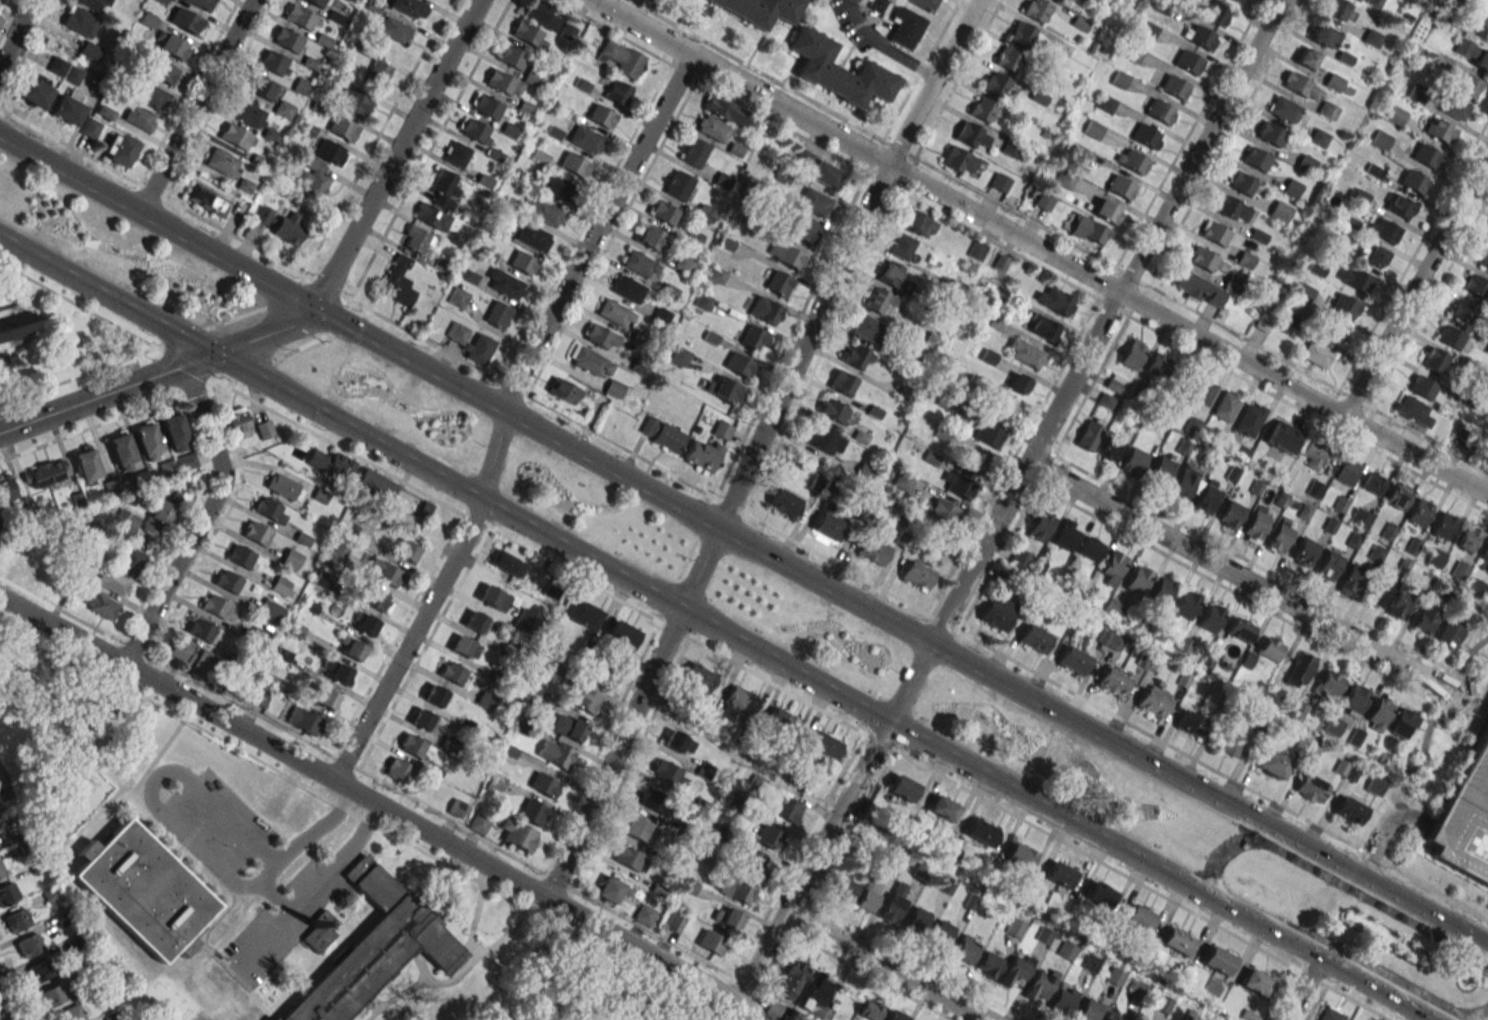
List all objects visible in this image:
building: (1235, 0)
building: (1238, 0)
road: (1487, 0)
building: (316, 3)
building: (1371, 3)
building: (95, 4)
building: (202, 4)
building: (876, 5)
building: (406, 7)
building: (1336, 8)
building: (1035, 9)
building: (756, 10)
road: (1466, 11)
building: (1216, 13)
building: (541, 15)
building: (0, 17)
building: (299, 17)
building: (184, 20)
road: (1450, 20)
building: (905, 27)
building: (392, 29)
building: (1147, 30)
road: (16, 33)
building: (1021, 33)
building: (529, 35)
building: (1324, 36)
building: (1201, 37)
building: (1371, 37)
building: (286, 39)
building: (173, 46)
road: (883, 47)
building: (1471, 53)
building: (511, 57)
building: (1306, 57)
building: (622, 58)
building: (1007, 58)
building: (1187, 62)
building: (274, 63)
building: (64, 70)
building: (160, 71)
building: (835, 72)
building: (376, 73)
building: (502, 83)
building: (1297, 83)
building: (1467, 83)
building: (995, 84)
building: (1173, 86)
building: (260, 87)
building: (35, 91)
building: (617, 92)
building: (150, 95)
building: (352, 102)
building: (1104, 104)
road: (195, 106)
building: (485, 106)
building: (1451, 106)
building: (67, 107)
building: (981, 108)
building: (1282, 108)
building: (283, 109)
building: (726, 110)
building: (1327, 110)
building: (1158, 111)
building: (247, 113)
building: (1395, 115)
building: (601, 116)
building: (138, 117)
building: (341, 127)
building: (90, 128)
building: (711, 128)
building: (1092, 129)
building: (1438, 129)
building: (473, 130)
building: (971, 135)
building: (1144, 135)
building: (1268, 135)
building: (234, 136)
building: (586, 139)
building: (1380, 139)
building: (119, 149)
building: (1010, 149)
road: (1178, 149)
building: (330, 152)
building: (693, 152)
building: (456, 154)
road: (395, 155)
building: (1425, 156)
building: (1255, 158)
building: (802, 159)
building: (958, 160)
building: (1133, 161)
building: (221, 162)
building: (1306, 162)
building: (573, 164)
building: (826, 174)
building: (313, 179)
building: (1413, 181)
building: (999, 182)
building: (1241, 183)
building: (677, 185)
building: (1120, 187)
building: (443, 188)
building: (207, 200)
building: (1043, 200)
building: (814, 202)
building: (1228, 207)
building: (1400, 207)
road: (968, 210)
building: (545, 211)
building: (1106, 211)
building: (1280, 211)
building: (662, 212)
building: (704, 213)
building: (262, 214)
building: (430, 217)
road: (157, 222)
building: (917, 224)
building: (288, 227)
building: (802, 229)
building: (1385, 231)
building: (1094, 233)
building: (1215, 233)
building: (532, 237)
building: (651, 238)
building: (416, 239)
building: (901, 246)
building: (976, 250)
building: (785, 254)
building: (1371, 254)
building: (1203, 258)
building: (1483, 258)
building: (521, 262)
building: (640, 264)
building: (683, 264)
building: (716, 275)
building: (893, 278)
building: (1354, 278)
building: (397, 282)
building: (503, 283)
building: (778, 283)
building: (1232, 283)
road: (1416, 283)
building: (1474, 287)
building: (626, 288)
building: (1199, 288)
building: (1303, 291)
road: (337, 293)
building: (457, 297)
building: (879, 300)
building: (1054, 301)
building: (1344, 306)
building: (764, 310)
traffic signals: (314, 311)
building: (1459, 312)
building: (614, 313)
building: (497, 314)
building: (660, 316)
building: (14, 326)
building: (865, 326)
building: (1043, 328)
building: (1332, 331)
building: (640, 333)
building: (599, 336)
building: (1449, 337)
building: (753, 338)
building: (483, 344)
building: (1487, 350)
building: (1024, 353)
building: (1132, 353)
building: (1316, 354)
traffic signals: (214, 355)
building: (679, 356)
building: (856, 356)
building: (1434, 359)
building: (590, 362)
building: (739, 365)
building: (1158, 365)
building: (638, 367)
road: (158, 375)
building: (1482, 378)
building: (842, 383)
building: (1018, 383)
building: (1421, 386)
building: (613, 388)
building: (722, 389)
building: (562, 390)
building: (1200, 390)
building: (1468, 400)
building: (1225, 405)
building: (1004, 407)
building: (832, 410)
building: (1414, 410)
road: (501, 415)
building: (1249, 419)
building: (236, 421)
building: (1192, 426)
building: (263, 429)
building: (722, 430)
building: (174, 432)
building: (987, 433)
building: (661, 434)
building: (1088, 434)
building: (816, 436)
building: (1281, 436)
building: (1462, 437)
building: (146, 441)
road: (756, 446)
building: (1109, 447)
building: (121, 450)
building: (702, 455)
building: (1312, 455)
road: (1417, 456)
building: (971, 458)
building: (1132, 461)
building: (185, 462)
building: (85, 463)
building: (331, 463)
building: (1162, 467)
building: (1346, 471)
building: (864, 472)
building: (45, 473)
building: (902, 481)
building: (1372, 482)
building: (375, 485)
building: (957, 485)
building: (1181, 485)
building: (281, 486)
building: (6, 492)
building: (1398, 495)
building: (1206, 498)
road: (1007, 500)
building: (783, 501)
building: (265, 508)
building: (939, 509)
building: (1419, 511)
building: (1230, 514)
building: (158, 516)
building: (1359, 517)
building: (125, 519)
road: (202, 521)
building: (827, 524)
building: (1255, 524)
building: (1040, 525)
building: (1443, 525)
building: (256, 533)
building: (1066, 535)
building: (1279, 536)
building: (1467, 537)
building: (1091, 548)
building: (872, 550)
building: (406, 551)
building: (1304, 551)
building: (1376, 551)
building: (337, 553)
building: (1484, 553)
building: (240, 557)
building: (130, 558)
building: (1435, 558)
building: (291, 559)
building: (30, 562)
building: (506, 563)
building: (1328, 564)
building: (1113, 567)
building: (1460, 569)
building: (383, 571)
building: (916, 575)
building: (1353, 577)
building: (1137, 579)
road: (1241, 580)
building: (112, 581)
building: (226, 581)
building: (280, 585)
building: (548, 587)
building: (1162, 590)
building: (1377, 592)
building: (493, 597)
building: (376, 599)
building: (1187, 604)
building: (1400, 604)
building: (100, 605)
building: (213, 605)
building: (1469, 605)
road: (918, 609)
building: (269, 610)
building: (996, 612)
building: (581, 613)
building: (1211, 617)
building: (1425, 619)
building: (474, 621)
building: (525, 621)
building: (365, 625)
road: (902, 628)
building: (1240, 628)
building: (199, 629)
road: (717, 630)
building: (1450, 633)
building: (621, 634)
building: (1034, 637)
building: (464, 647)
building: (1270, 648)
building: (352, 649)
building: (190, 656)
building: (1073, 659)
building: (1299, 669)
road: (135, 671)
building: (338, 672)
building: (451, 672)
building: (554, 672)
building: (698, 676)
building: (1113, 681)
building: (1328, 683)
building: (1272, 693)
building: (433, 694)
building: (259, 695)
building: (324, 697)
building: (582, 698)
building: (485, 699)
building: (1153, 700)
building: (1354, 700)
building: (738, 703)
building: (1379, 713)
building: (421, 718)
building: (303, 720)
building: (781, 721)
building: (1191, 723)
building: (1402, 724)
building: (568, 726)
building: (1332, 726)
building: (674, 740)
building: (1228, 743)
building: (825, 745)
building: (414, 747)
building: (553, 752)
building: (1272, 764)
building: (397, 769)
building: (1346, 769)
road: (323, 773)
building: (667, 773)
road: (301, 784)
building: (543, 784)
building: (1375, 785)
road: (131, 787)
building: (1310, 787)
building: (902, 788)
building: (652, 800)
road: (376, 805)
building: (456, 807)
building: (942, 807)
road: (111, 808)
building: (785, 808)
building: (1349, 810)
building: (532, 811)
building: (1465, 817)
parking lot: (1465, 817)
building: (478, 823)
building: (636, 828)
building: (981, 831)
road: (1386, 831)
road: (179, 834)
building: (517, 834)
building: (768, 836)
helipad: (1472, 842)
road: (1229, 847)
building: (1019, 854)
building: (626, 857)
building: (749, 859)
building: (1, 870)
road: (205, 872)
building: (1060, 874)
road: (1125, 876)
road: (448, 880)
road: (229, 887)
building: (842, 887)
building: (735, 888)
building: (144, 889)
building: (609, 889)
road: (307, 892)
building: (7, 893)
building: (867, 894)
building: (1100, 894)
road: (276, 895)
building: (893, 902)
road: (475, 912)
building: (643, 914)
building: (1138, 916)
building: (727, 917)
building: (16, 920)
building: (916, 920)
building: (674, 922)
building: (319, 931)
building: (940, 934)
building: (1177, 940)
building: (712, 942)
building: (28, 945)
building: (376, 947)
building: (962, 949)
building: (1217, 959)
building: (988, 962)
road: (422, 964)
road: (468, 964)
road: (884, 966)
building: (1015, 969)
building: (38, 971)
building: (1114, 976)
building: (791, 979)
building: (1256, 982)
park: (581, 984)
road: (1303, 987)
building: (819, 992)
building: (51, 995)
building: (1062, 1000)
road: (372, 1003)
road: (7, 1004)
building: (869, 1009)
building: (1088, 1009)
building: (71, 1013)
building: (1330, 1013)
building: (894, 1015)
building: (1113, 1016)
road: (1480, 1016)
road: (583, 1017)
building: (274, 1019)
building: (1354, 1019)

